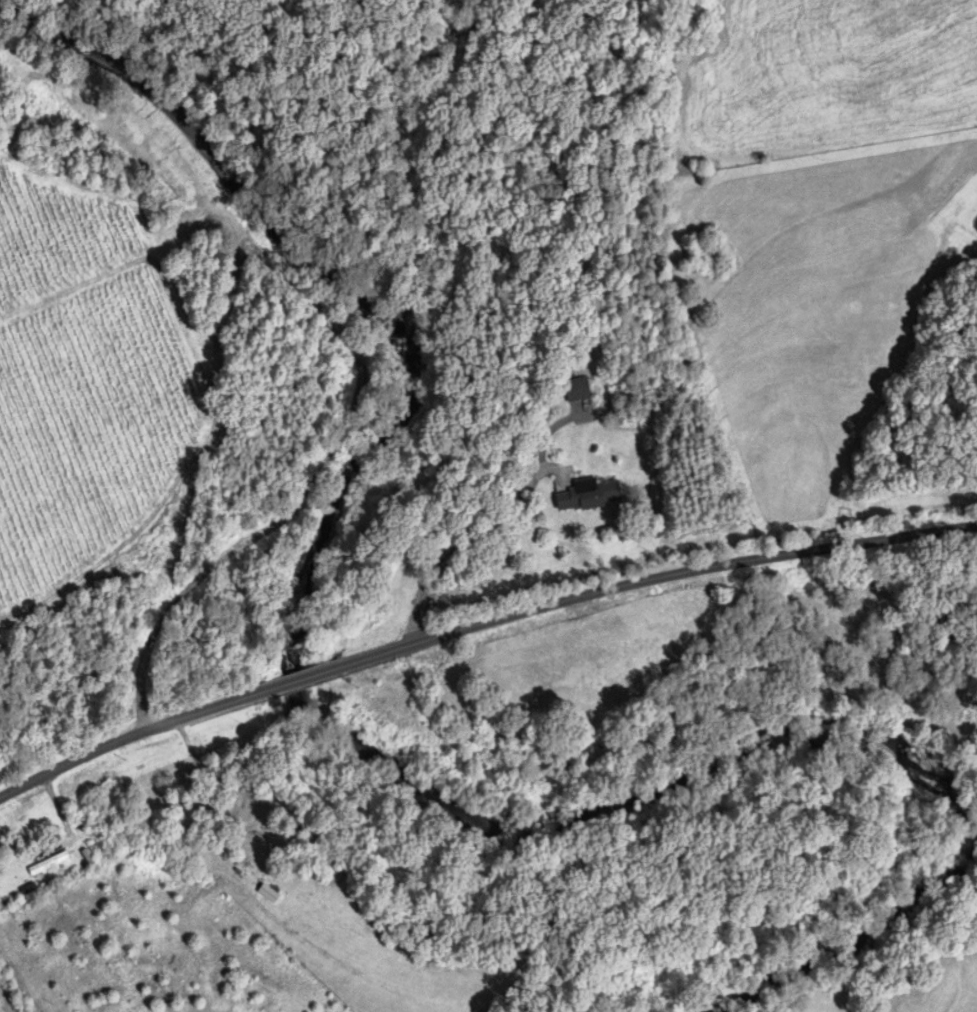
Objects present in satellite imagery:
building: (575, 387)
building: (589, 495)
road: (467, 544)
road: (653, 580)
road: (301, 678)
road: (129, 736)
building: (113, 839)
building: (48, 864)
building: (268, 894)
road: (20, 981)

